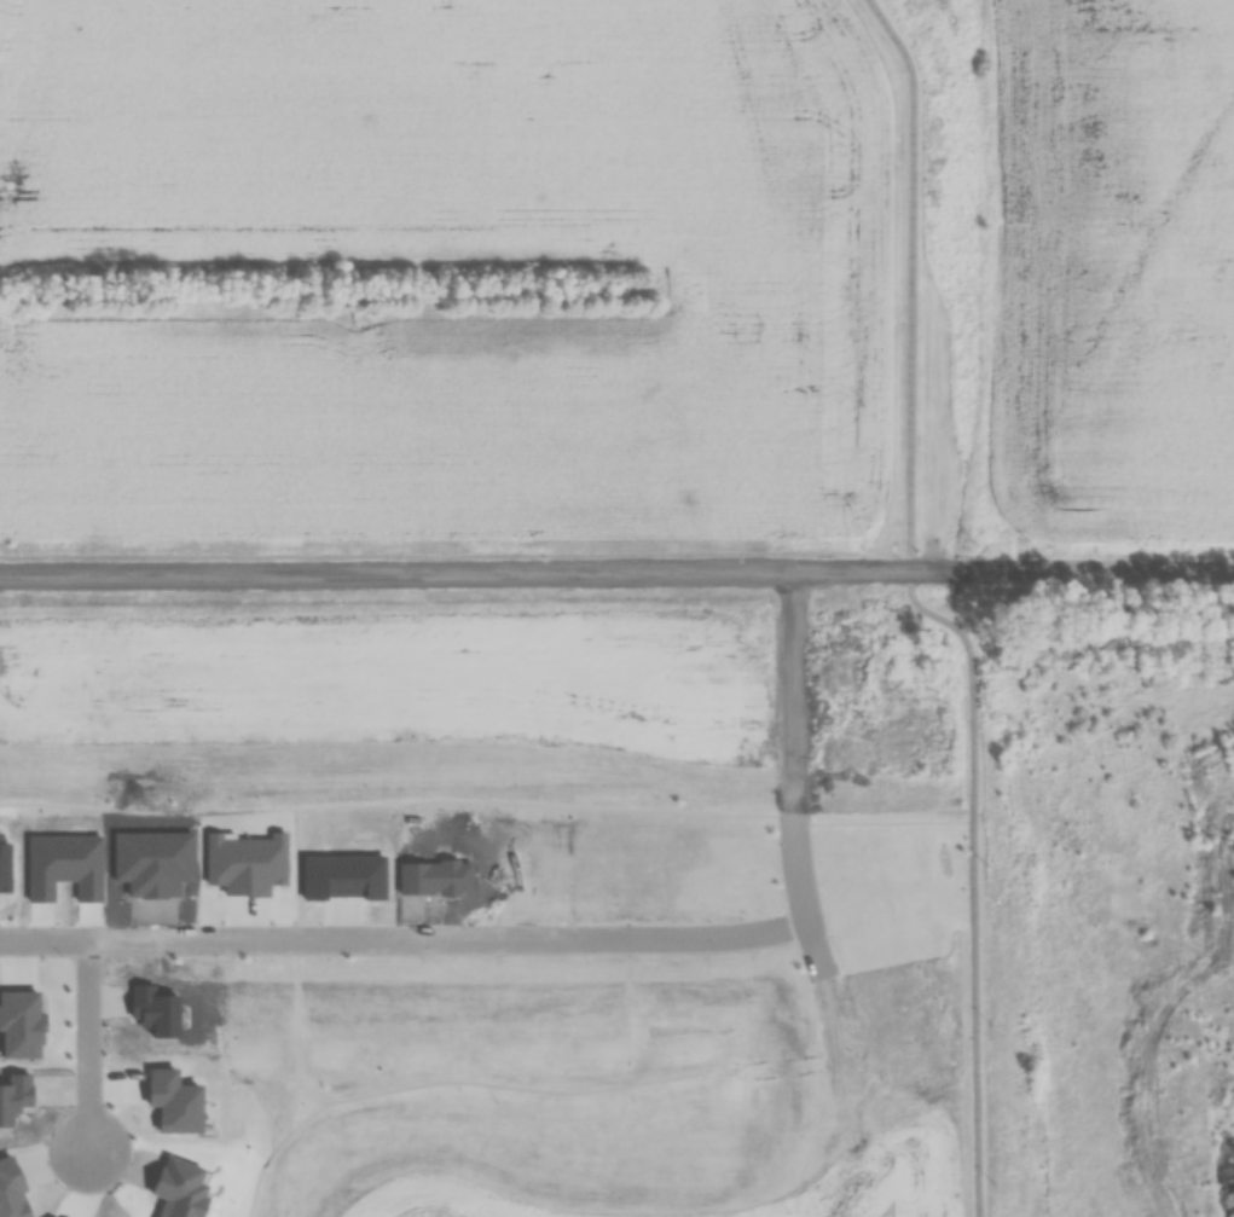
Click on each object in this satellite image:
crop: (1111, 262)
road: (616, 573)
road: (923, 610)
road: (393, 802)
road: (880, 825)
road: (578, 941)
road: (292, 1018)
road: (80, 1048)
road: (479, 1083)
road: (305, 1094)
crop: (892, 1166)
crop: (429, 1200)

